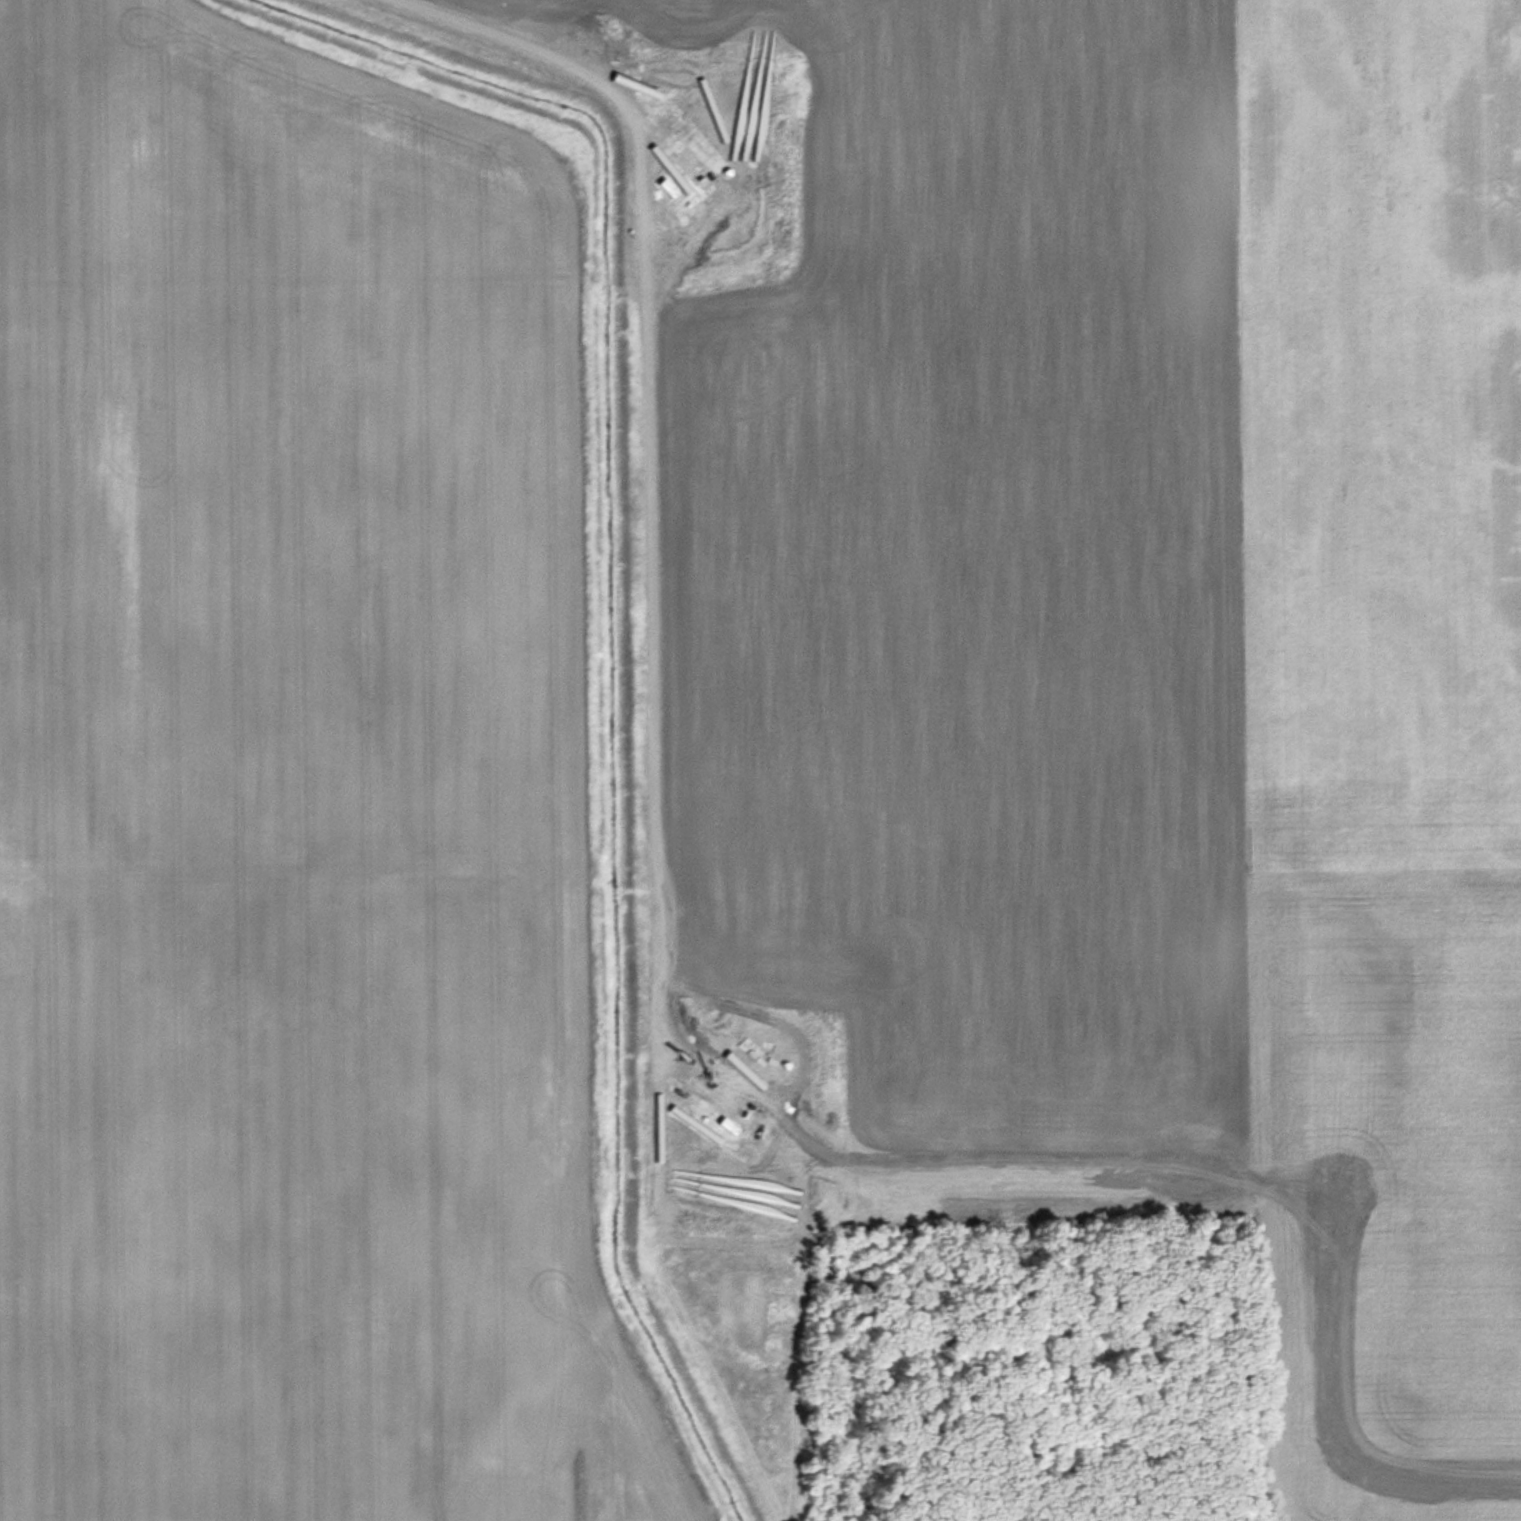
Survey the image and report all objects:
wind turbine: (705, 171)
wind turbine: (750, 1119)

